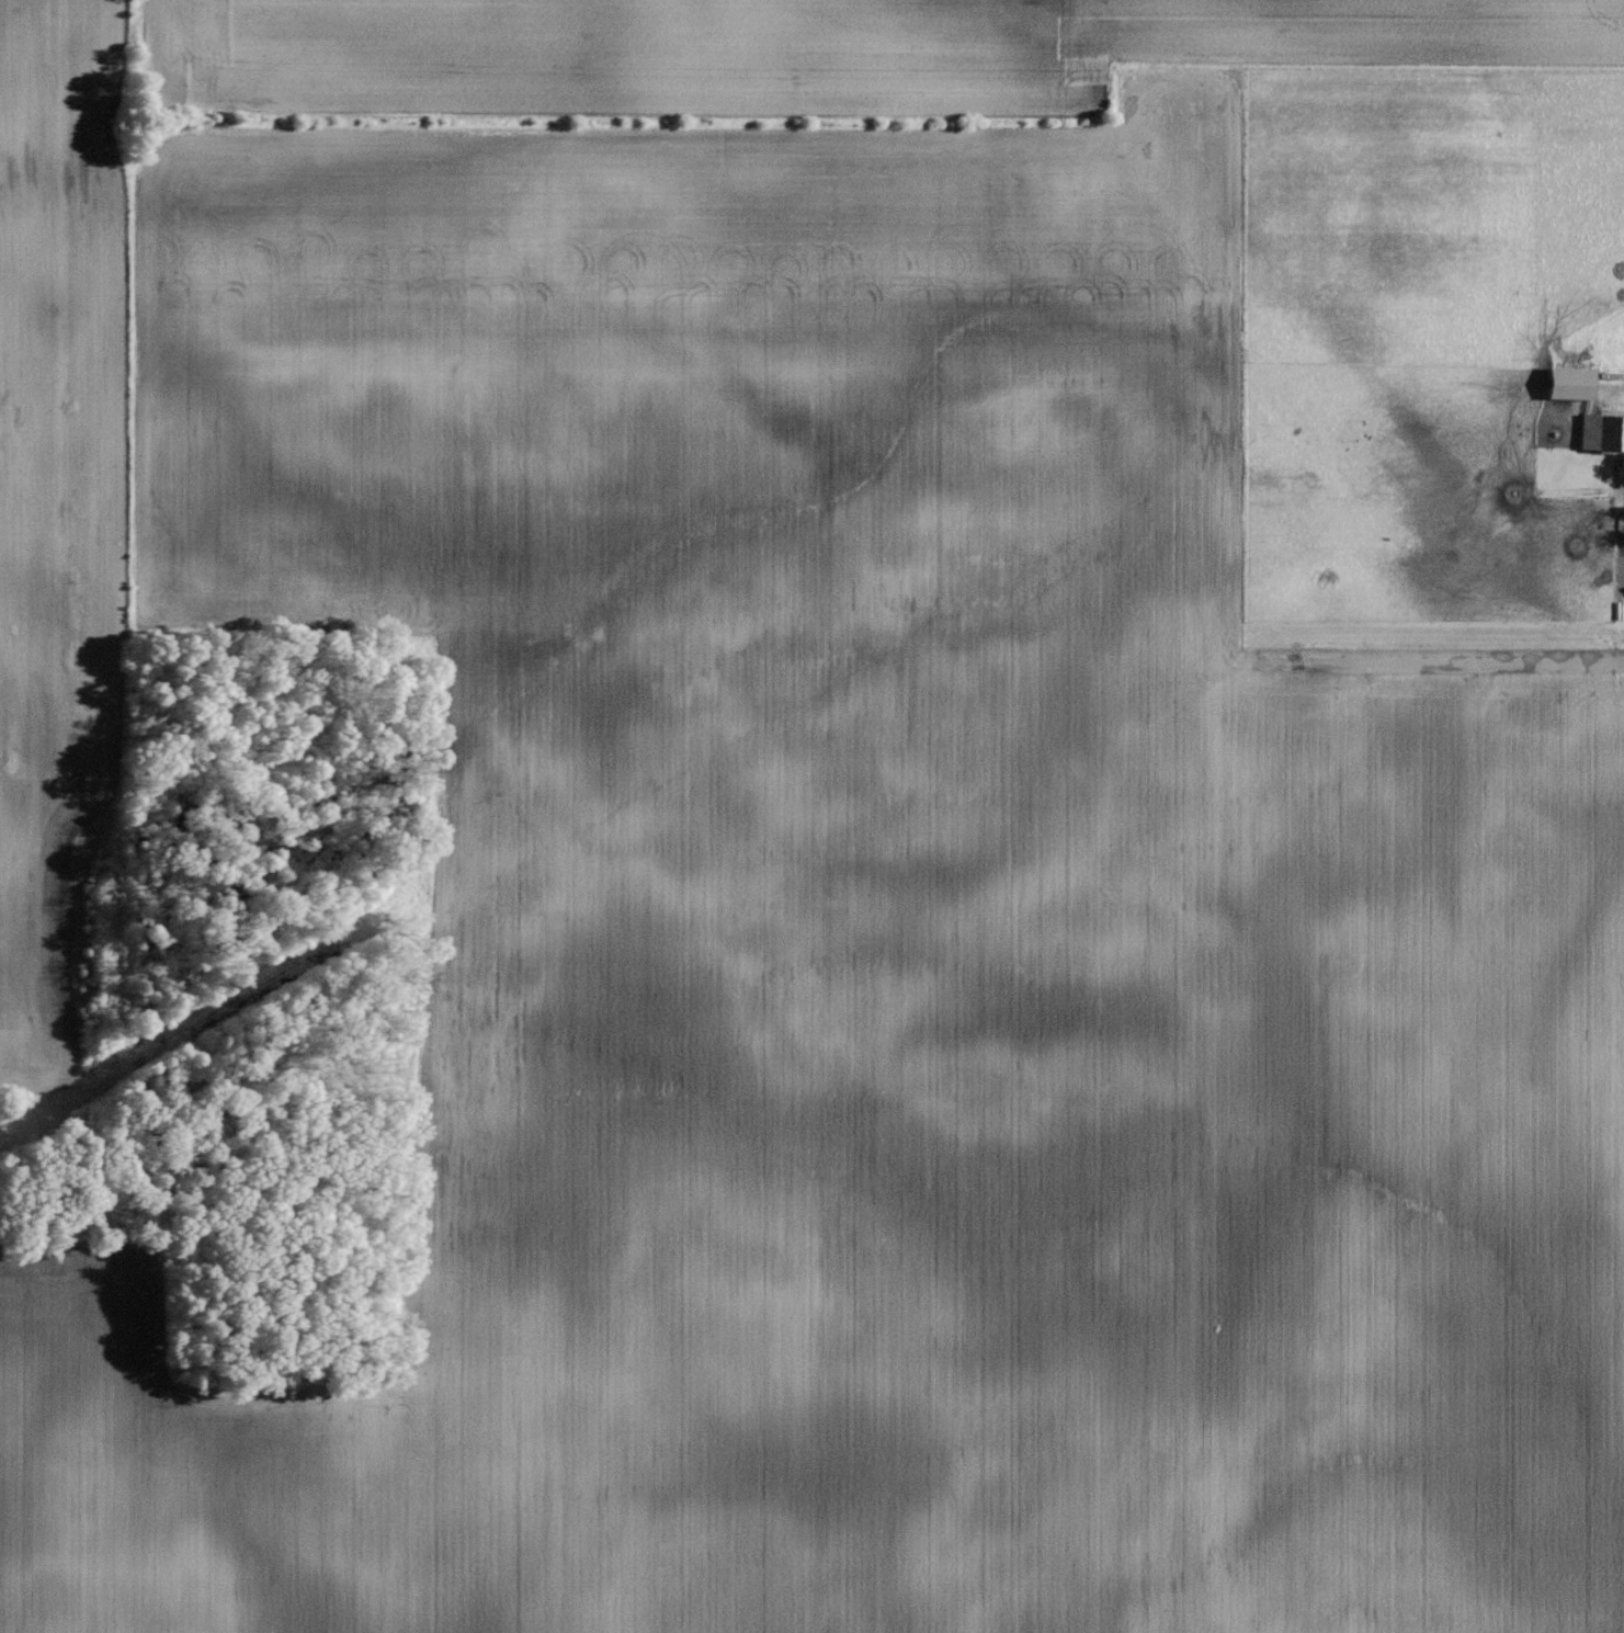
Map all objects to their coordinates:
building: (1560, 383)
building: (1594, 431)

